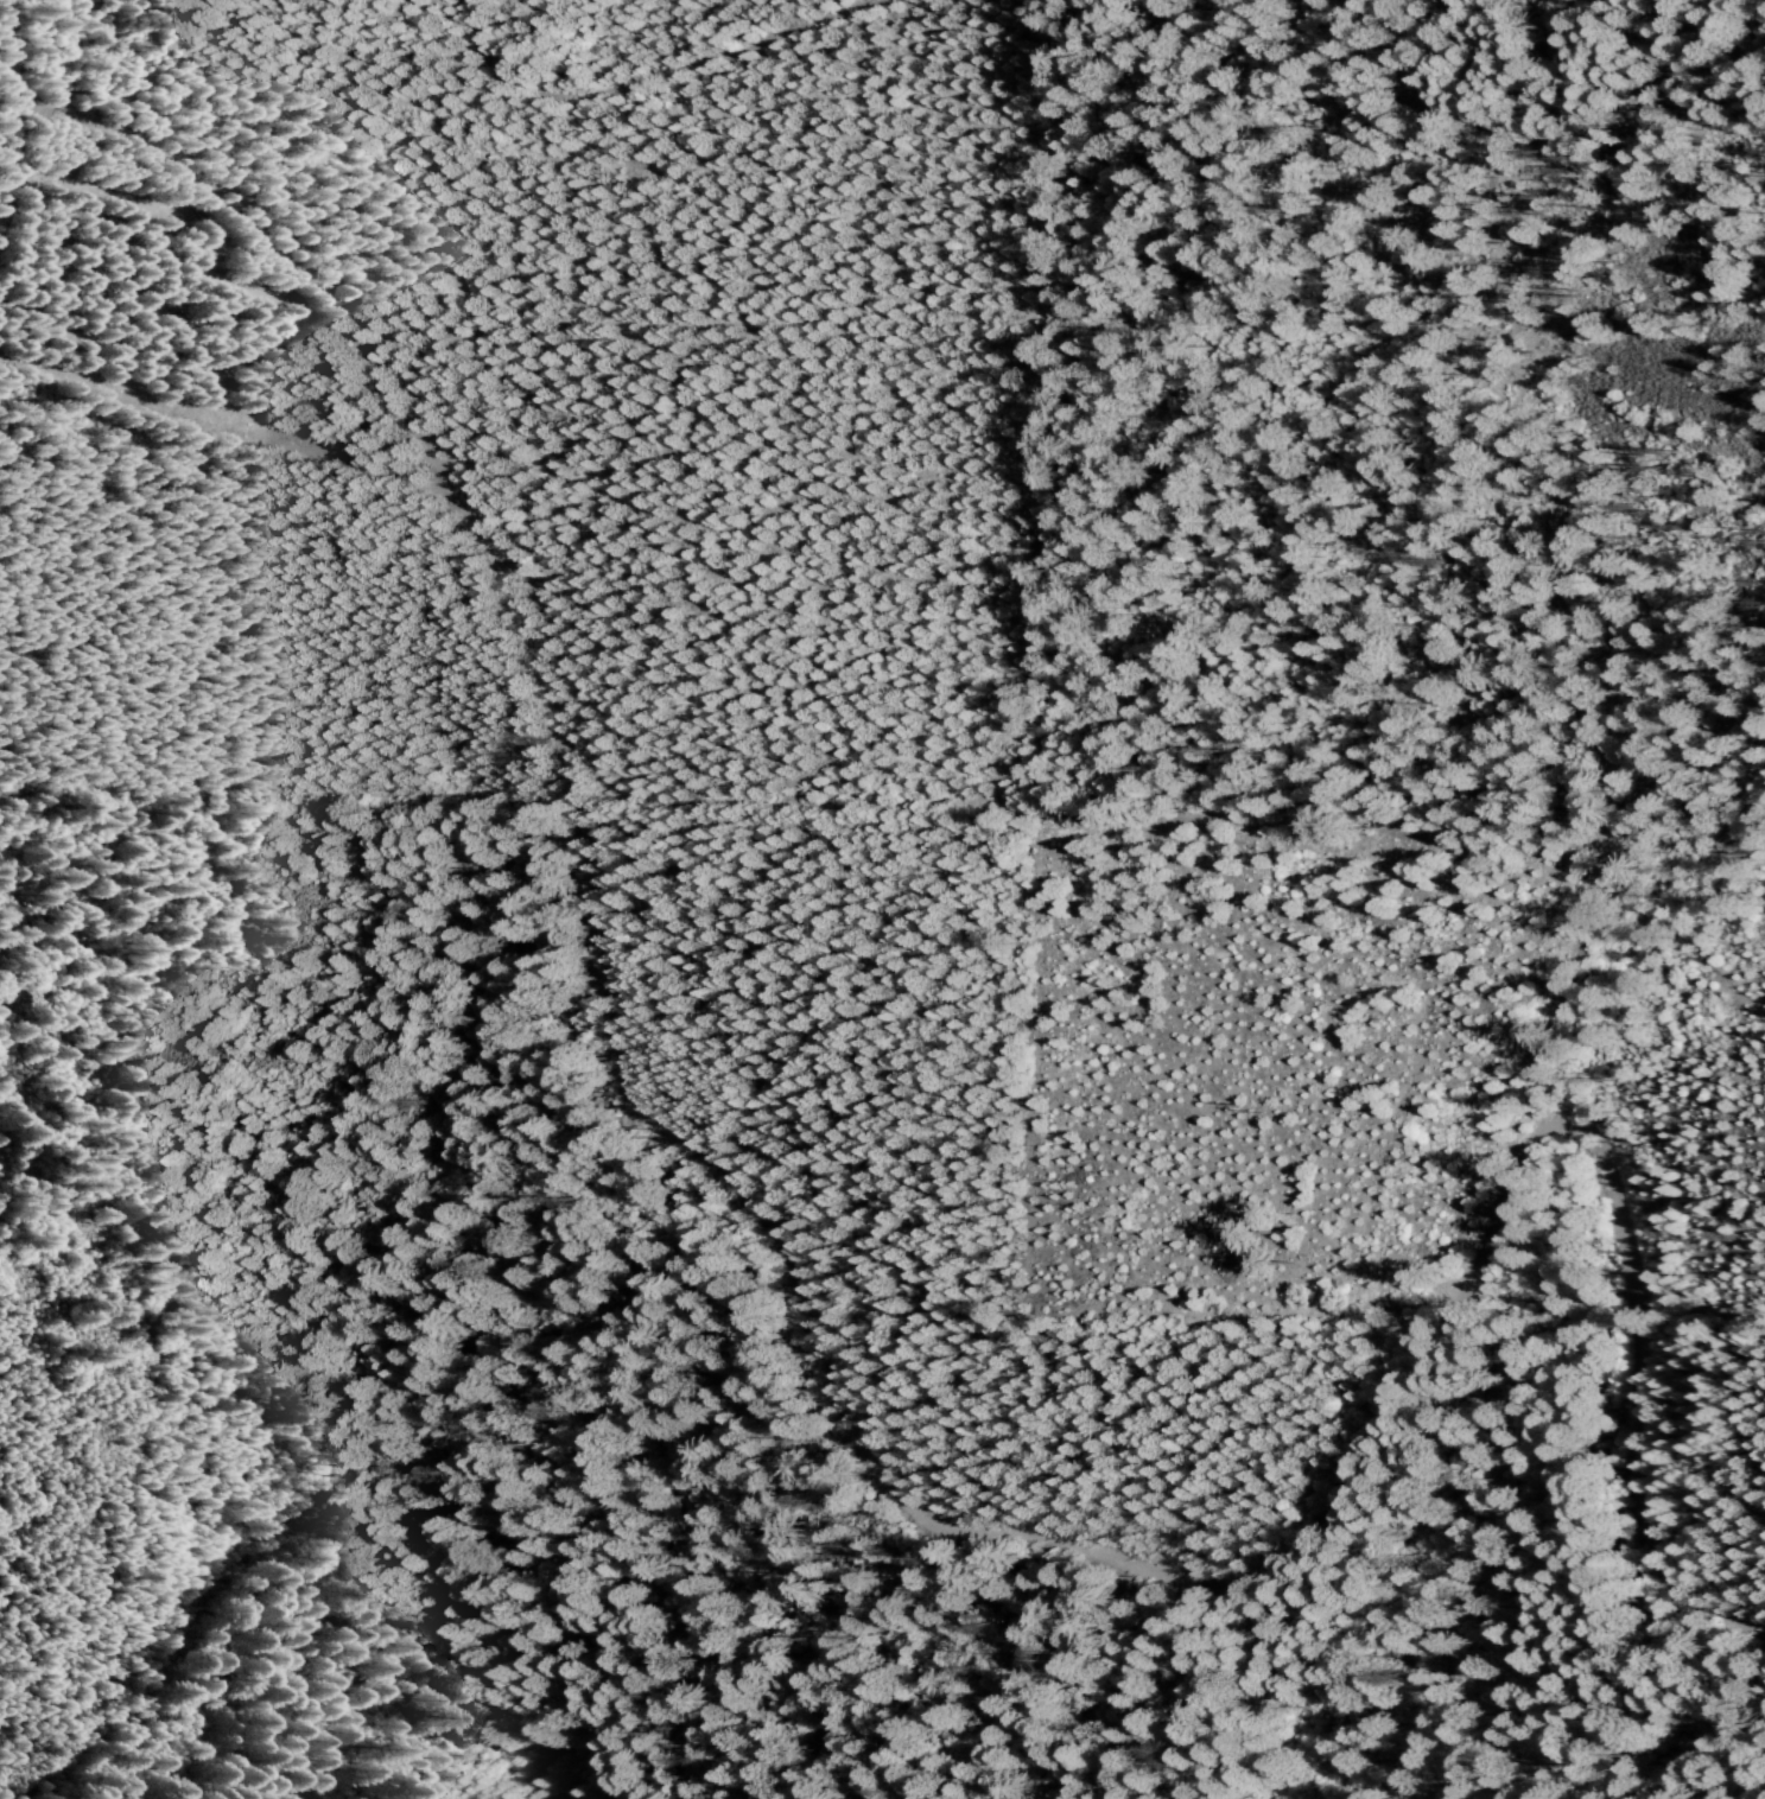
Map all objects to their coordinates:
park: (97, 163)
park: (236, 351)
park: (1404, 407)
road: (810, 1345)

